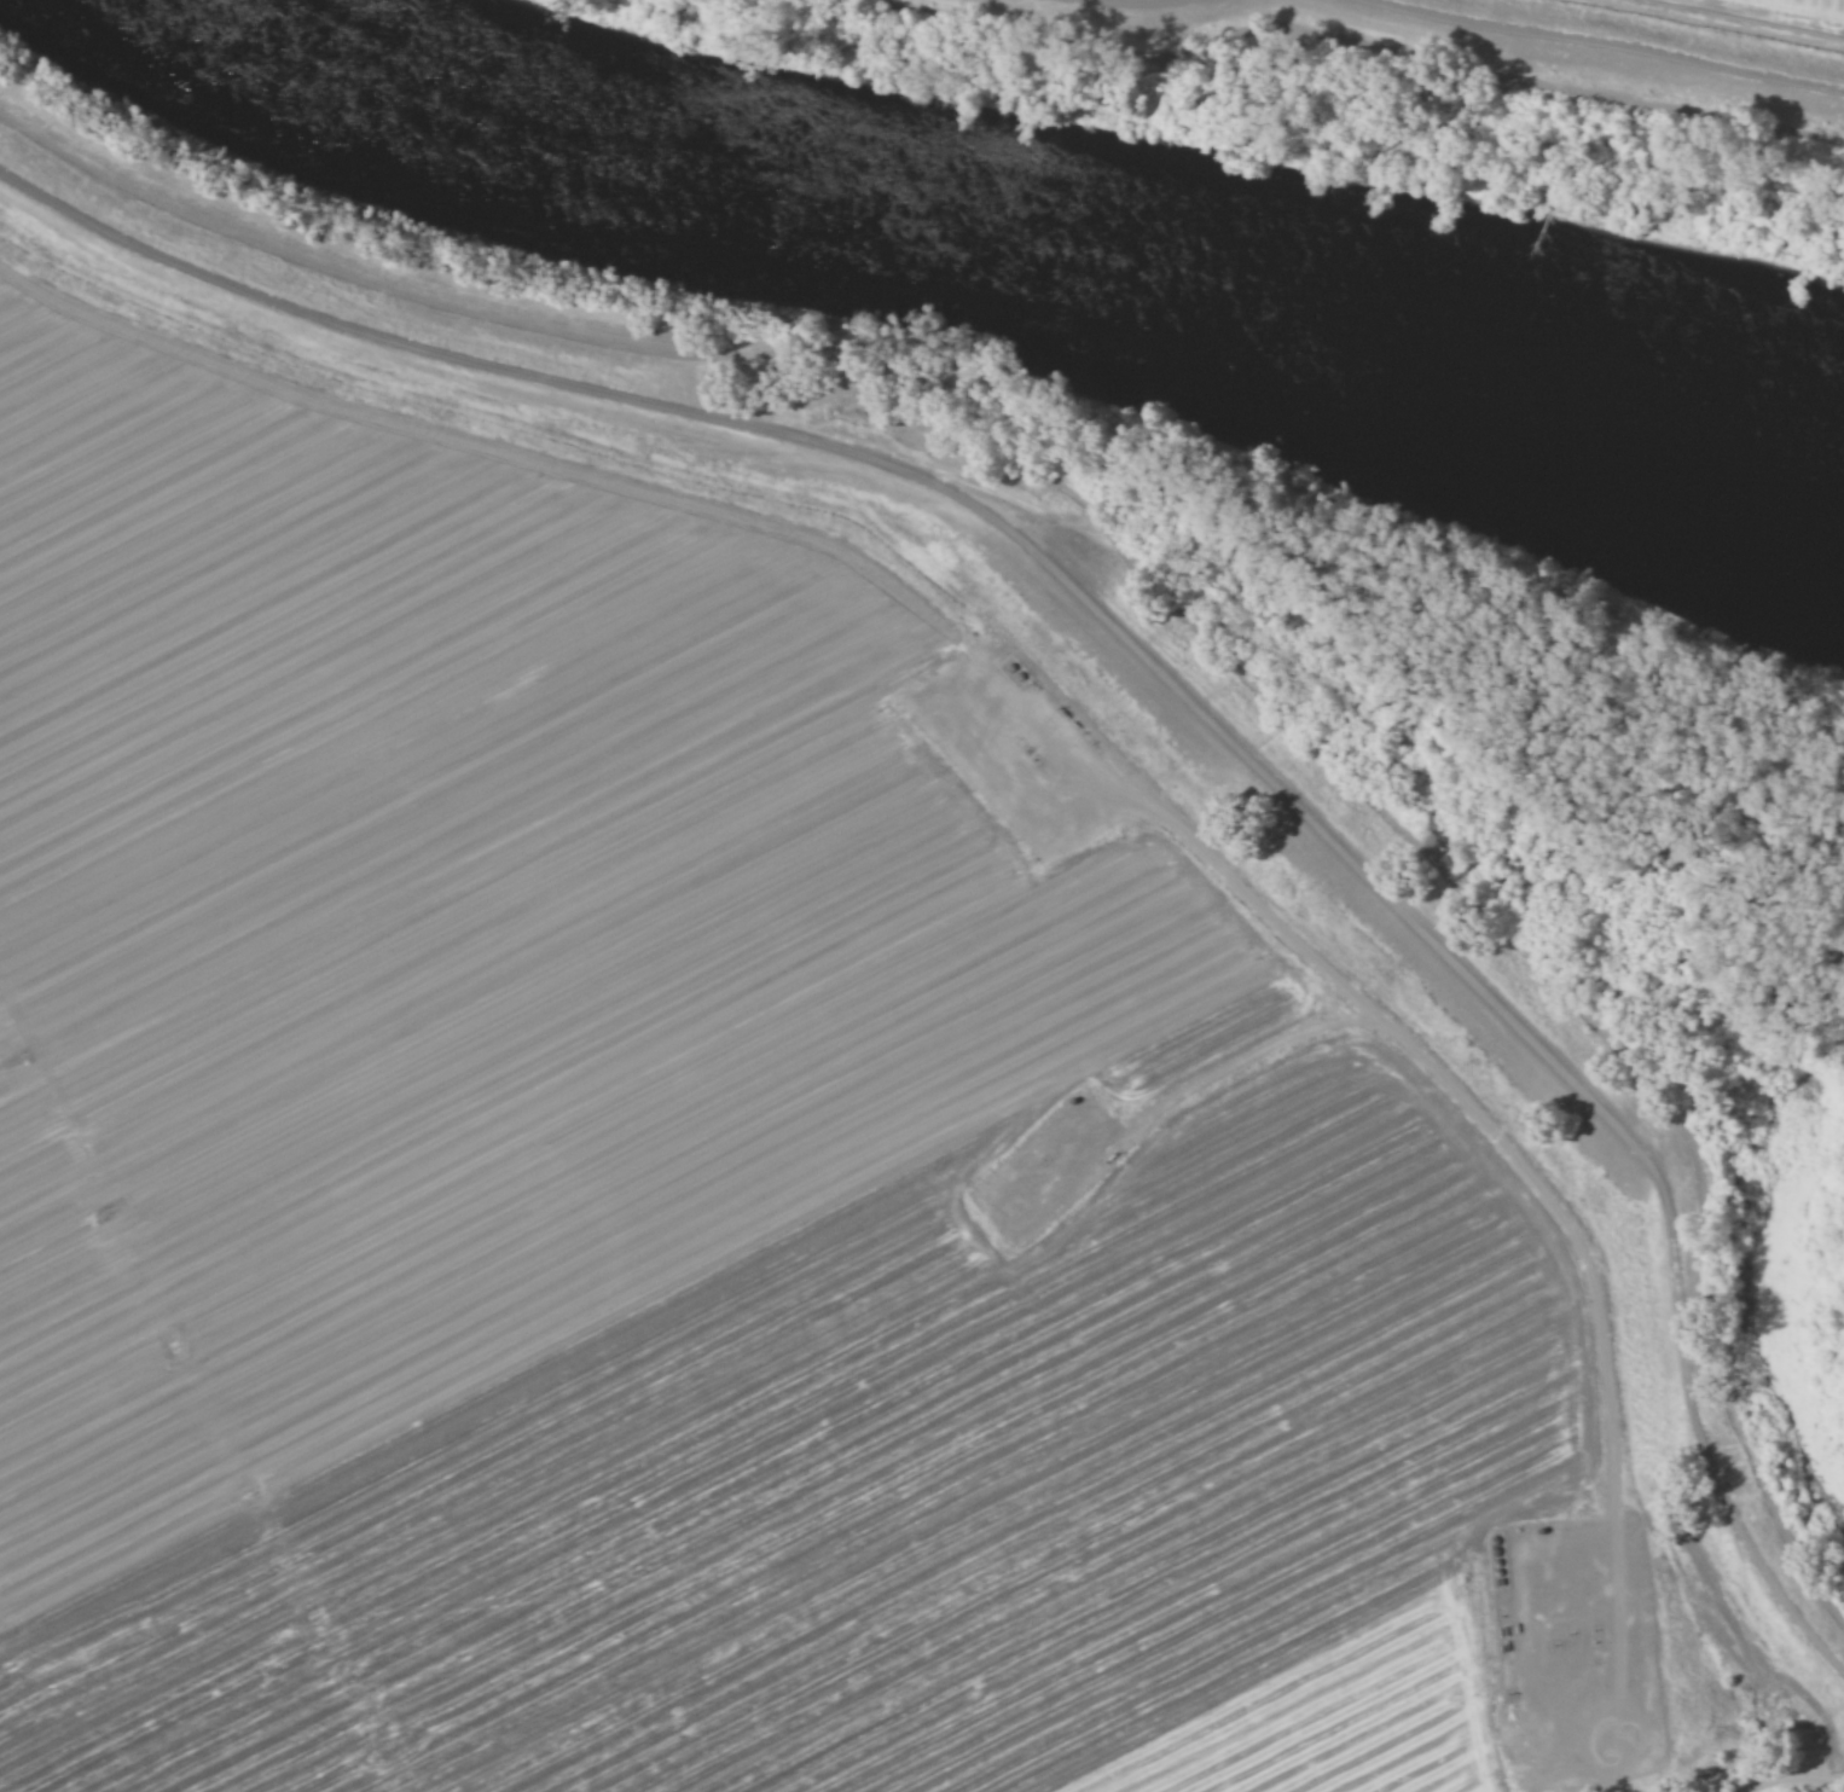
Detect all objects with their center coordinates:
road: (1135, 5)
road: (1607, 42)
river: (1027, 248)
road: (1142, 655)
road: (1784, 1768)

